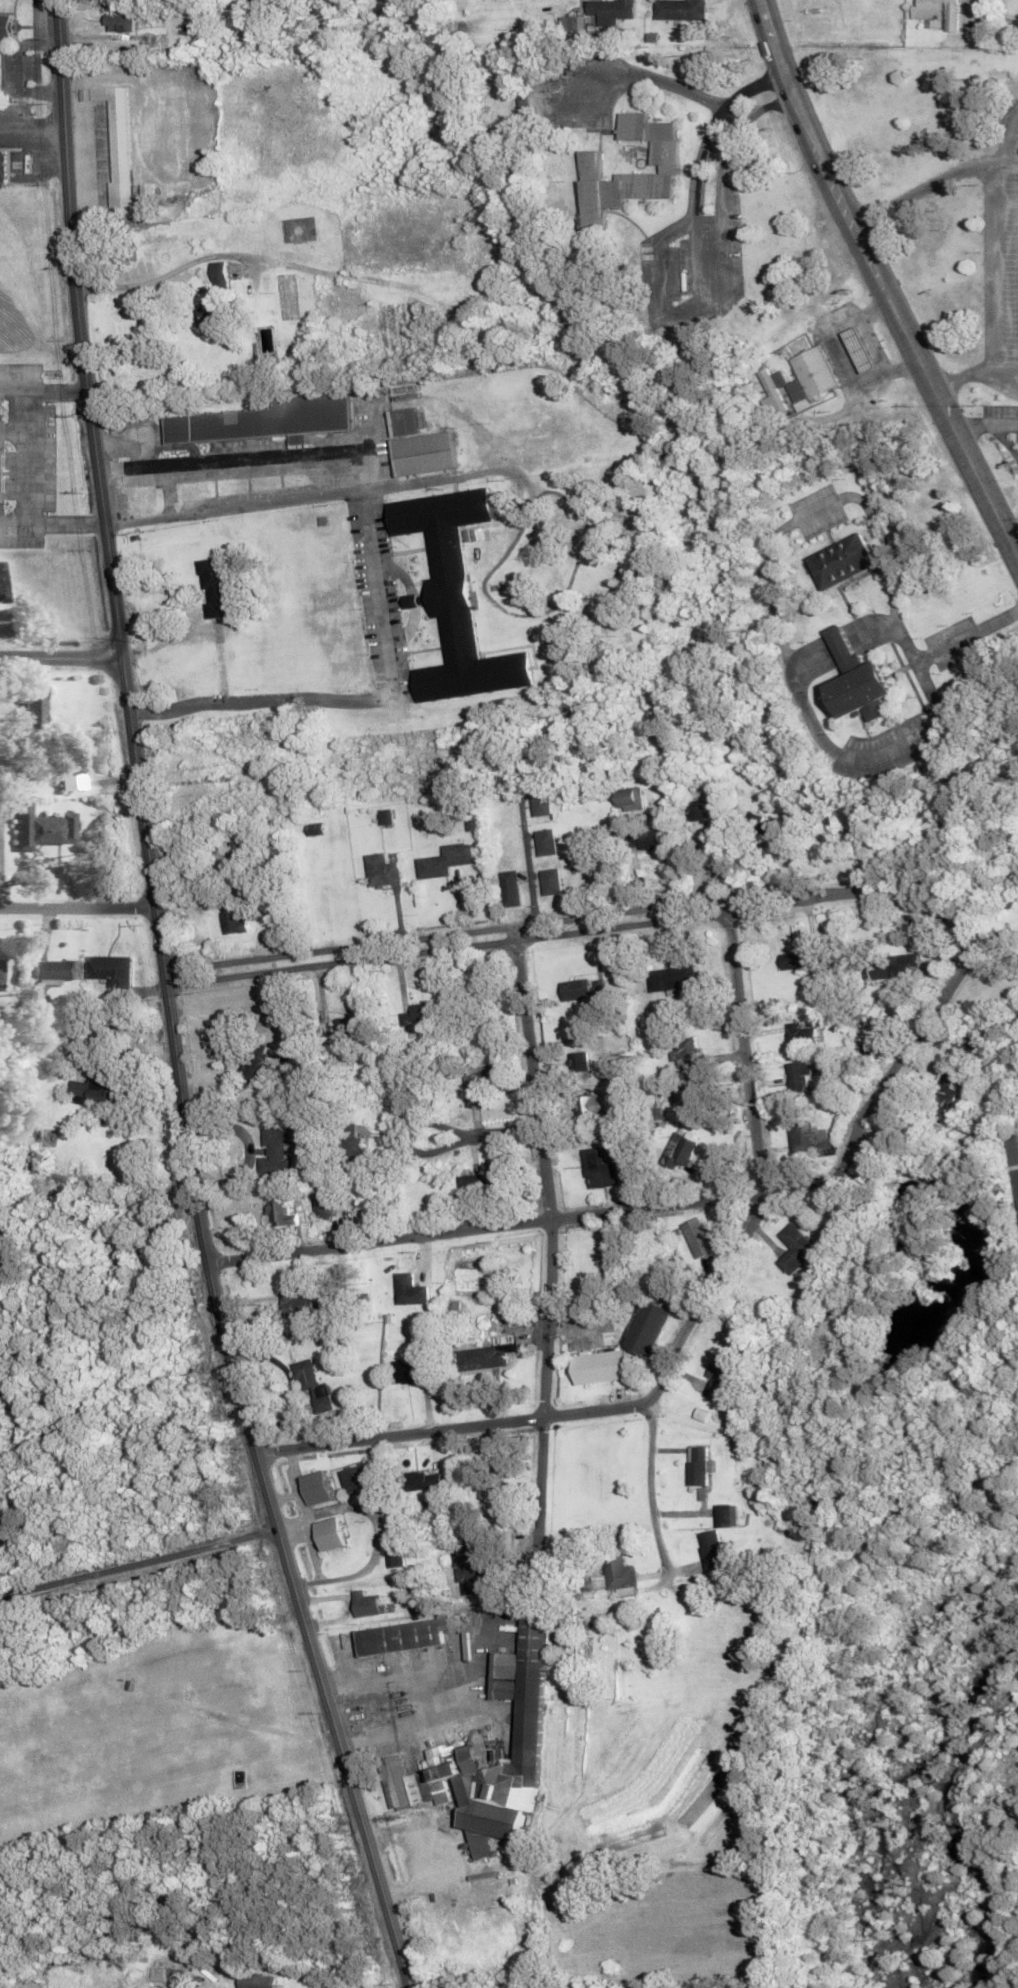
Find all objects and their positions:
road: (783, 63)
road: (871, 254)
road: (870, 341)
road: (843, 352)
road: (38, 393)
road: (384, 459)
road: (977, 465)
road: (36, 490)
road: (61, 651)
road: (79, 904)
road: (574, 927)
road: (171, 1006)
road: (886, 1080)
road: (470, 1131)
road: (434, 1146)
road: (547, 1173)
road: (486, 1221)
road: (735, 1243)
road: (454, 1424)
road: (543, 1464)
road: (139, 1556)

